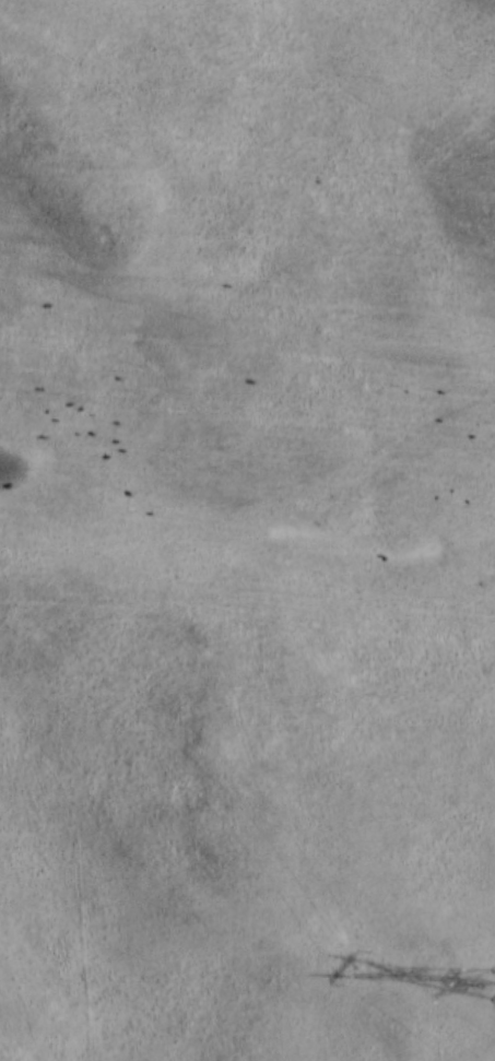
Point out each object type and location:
power tower: (492, 990)

